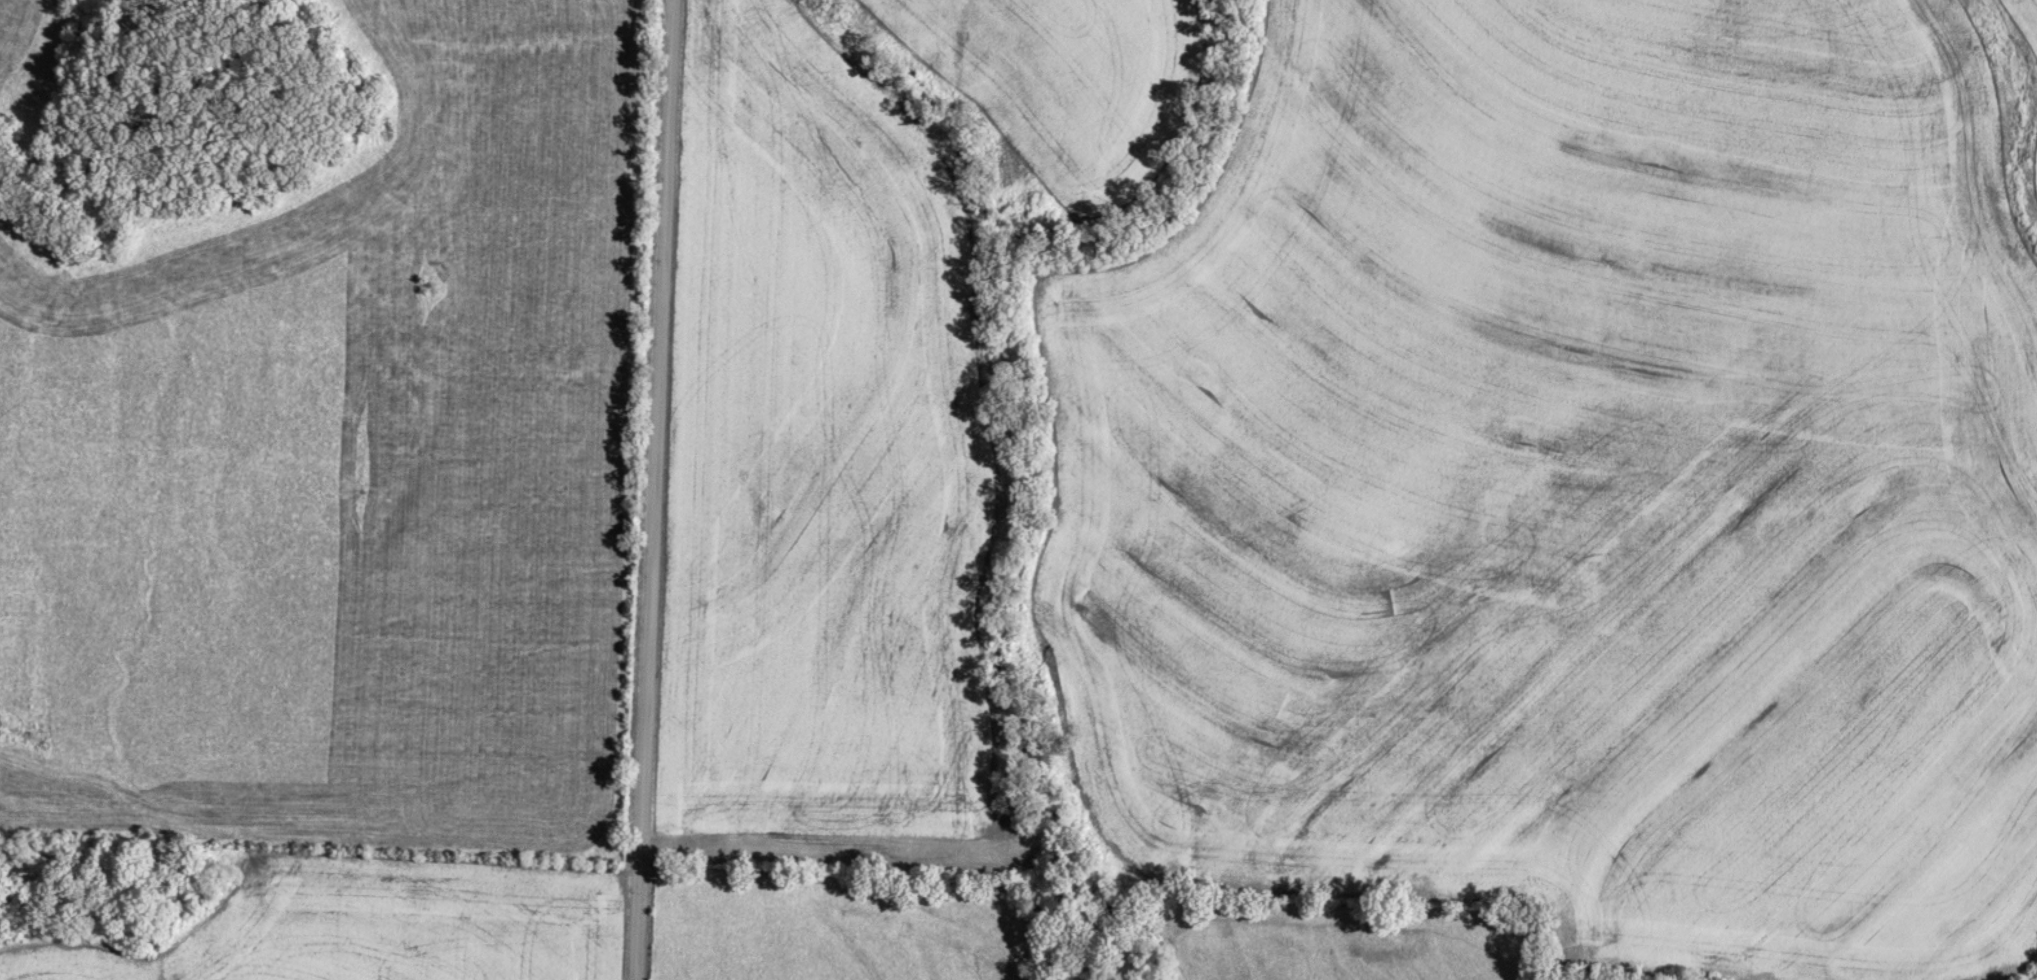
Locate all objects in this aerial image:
road: (650, 490)

